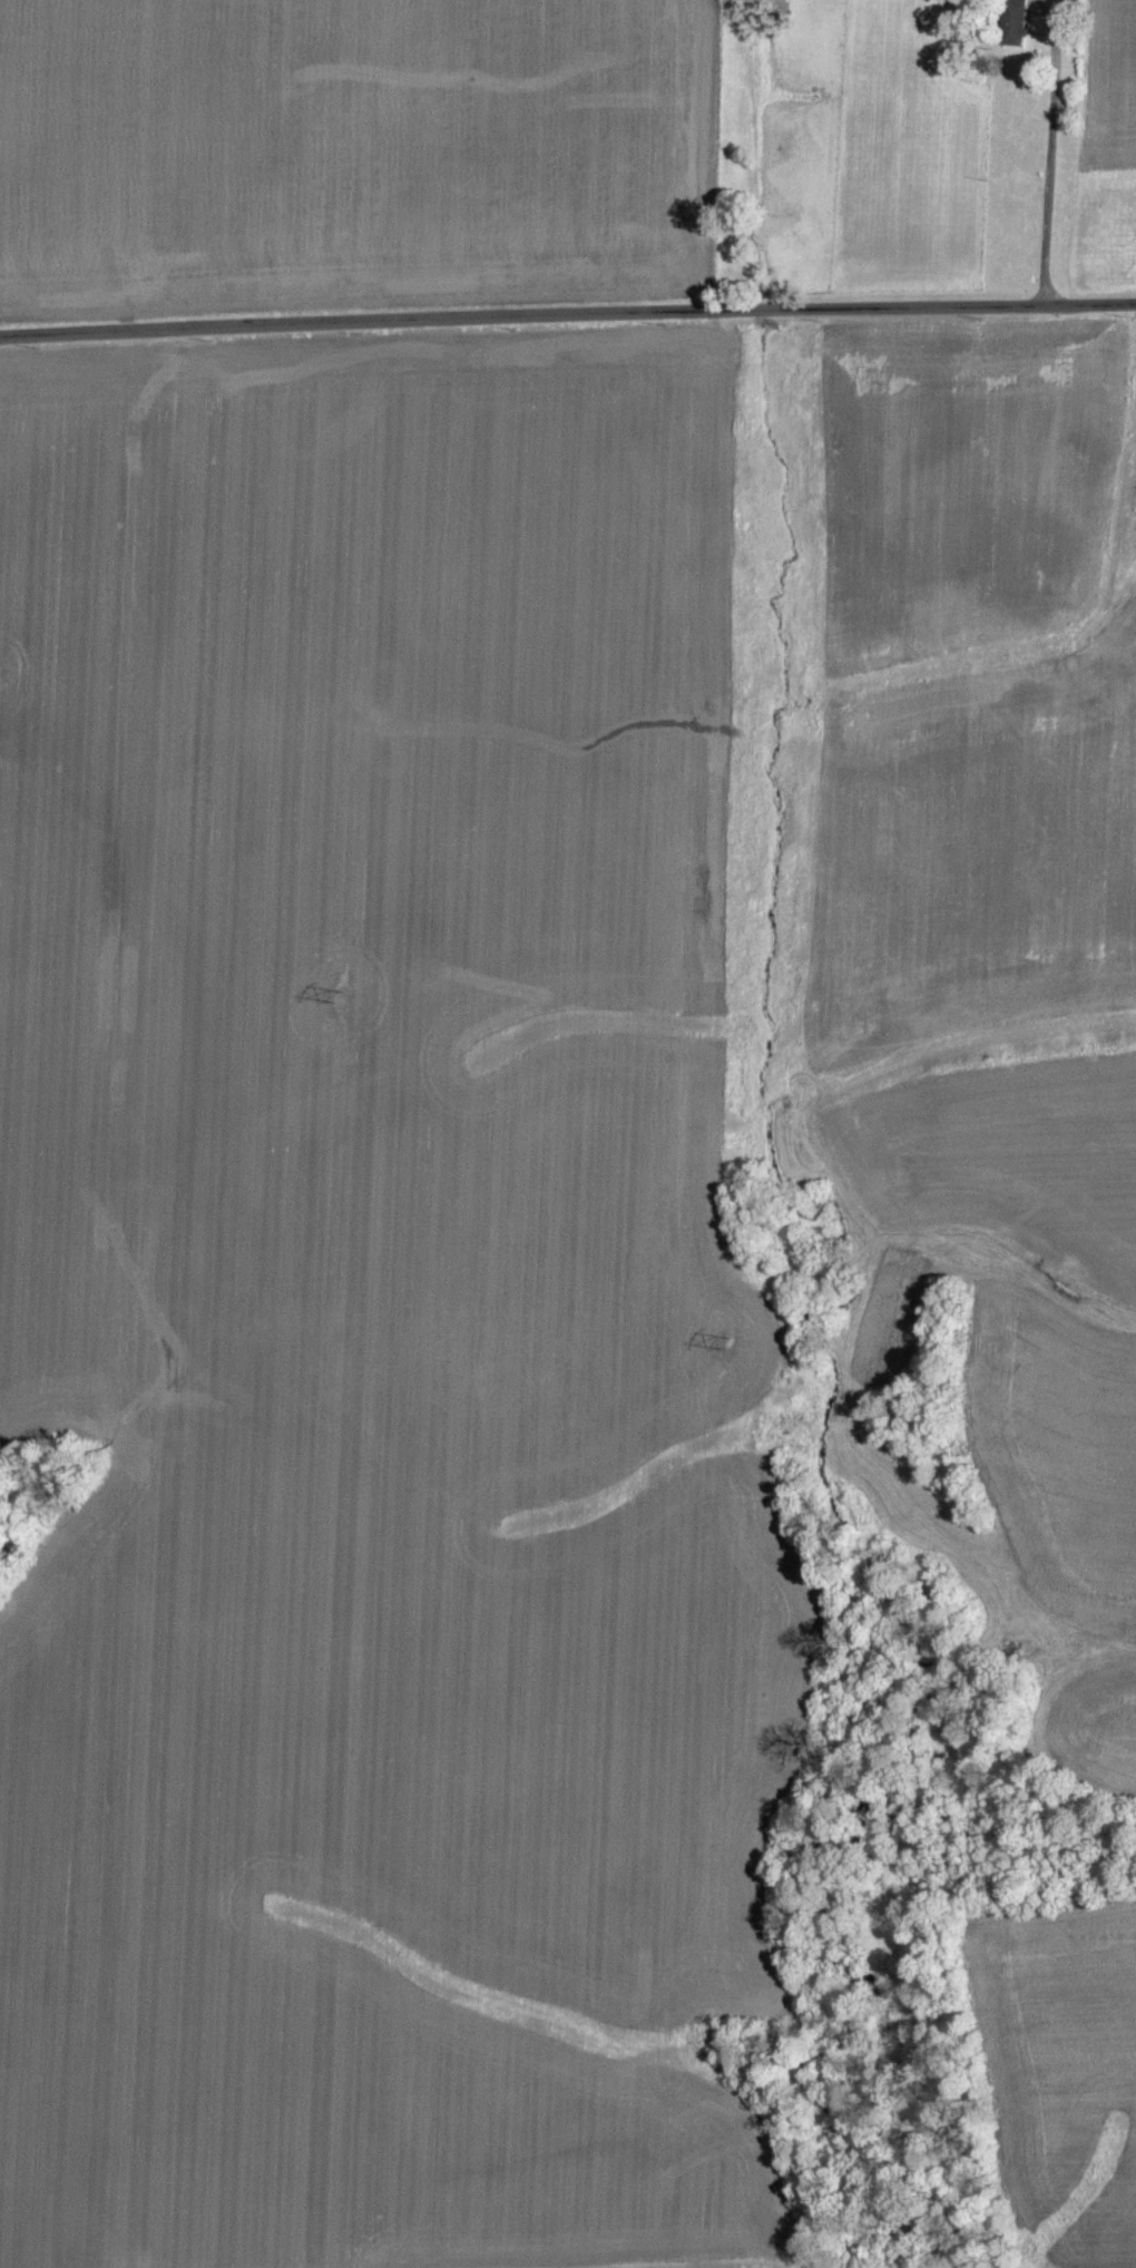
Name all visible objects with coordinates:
road: (1049, 154)
road: (567, 321)

